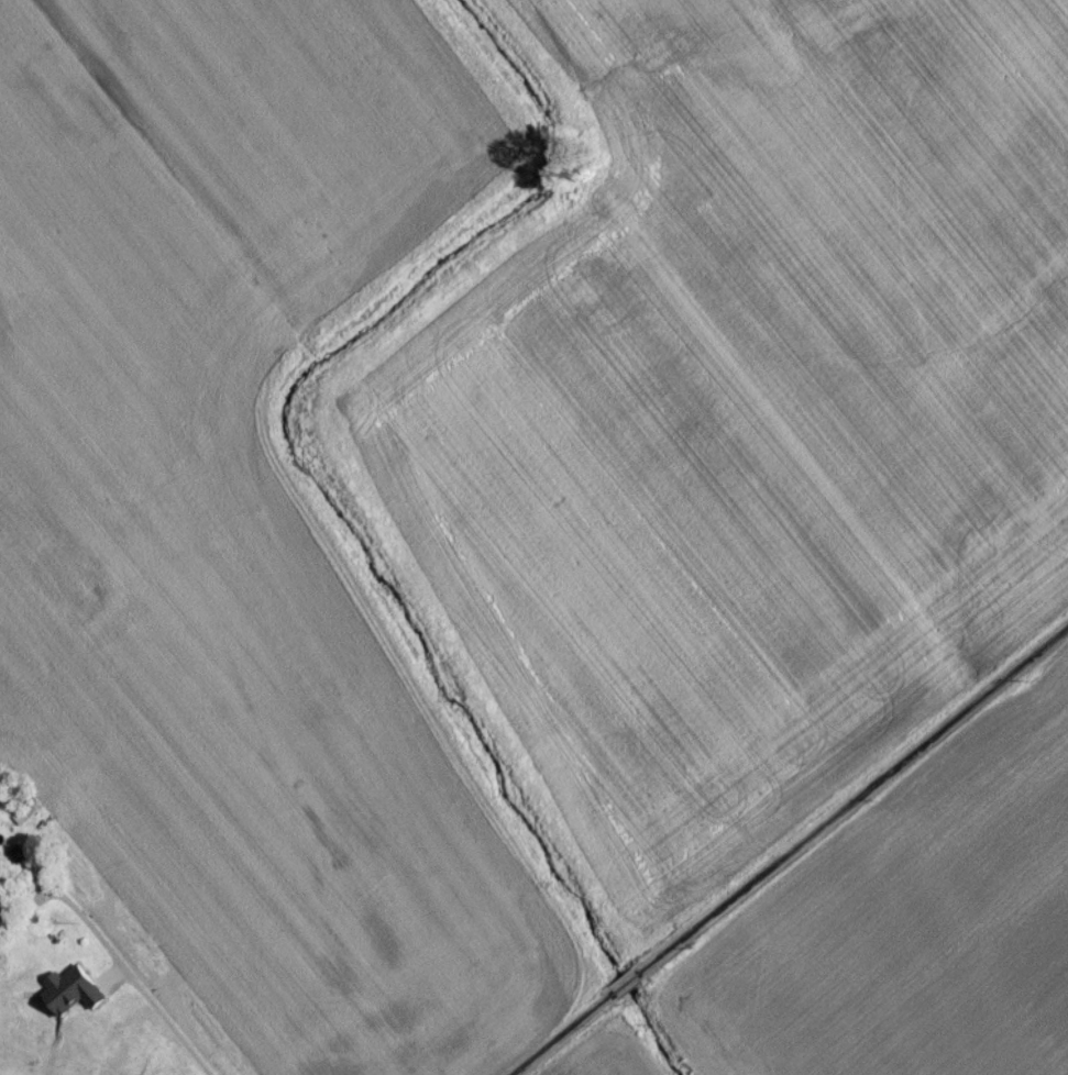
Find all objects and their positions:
building: (22, 820)
road: (784, 845)
road: (10, 884)
road: (130, 975)
road: (104, 1041)

